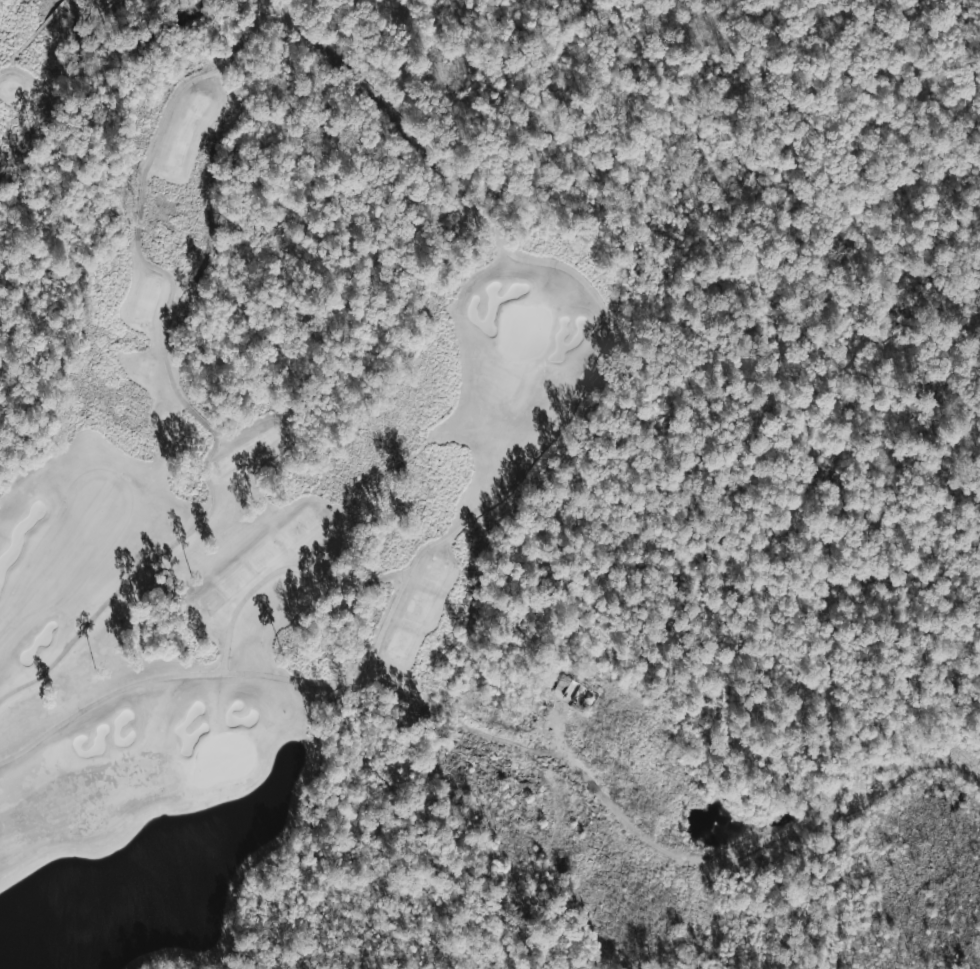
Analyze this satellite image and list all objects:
road: (63, 65)
road: (168, 380)
park: (247, 422)
park: (247, 422)
road: (520, 474)
road: (284, 575)
road: (663, 851)

